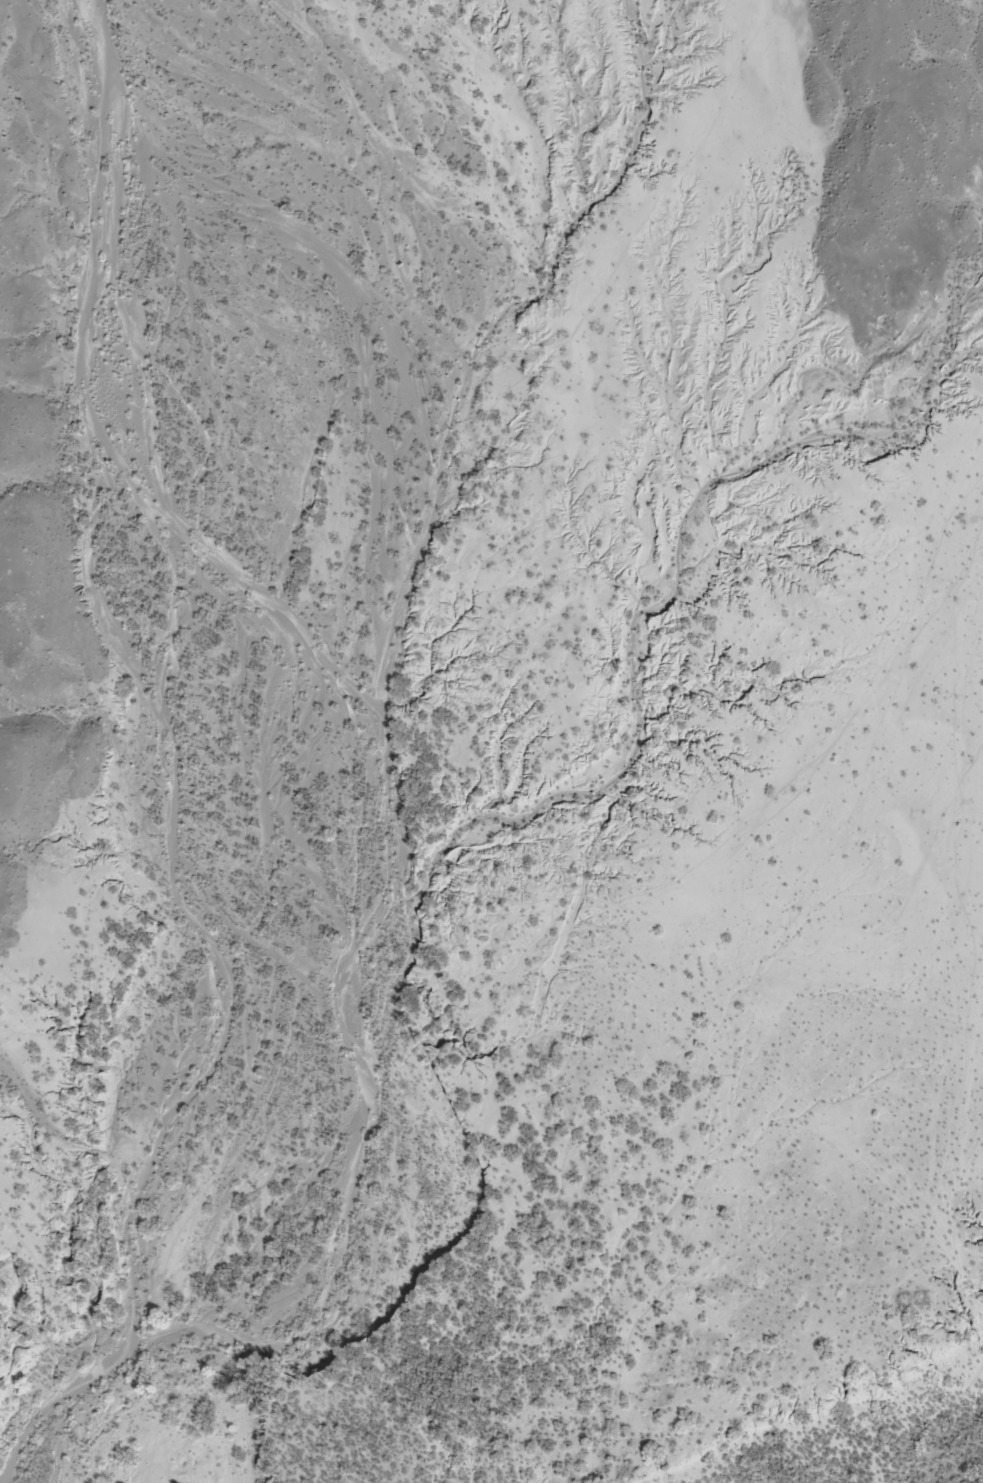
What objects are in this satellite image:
road: (19, 1095)

